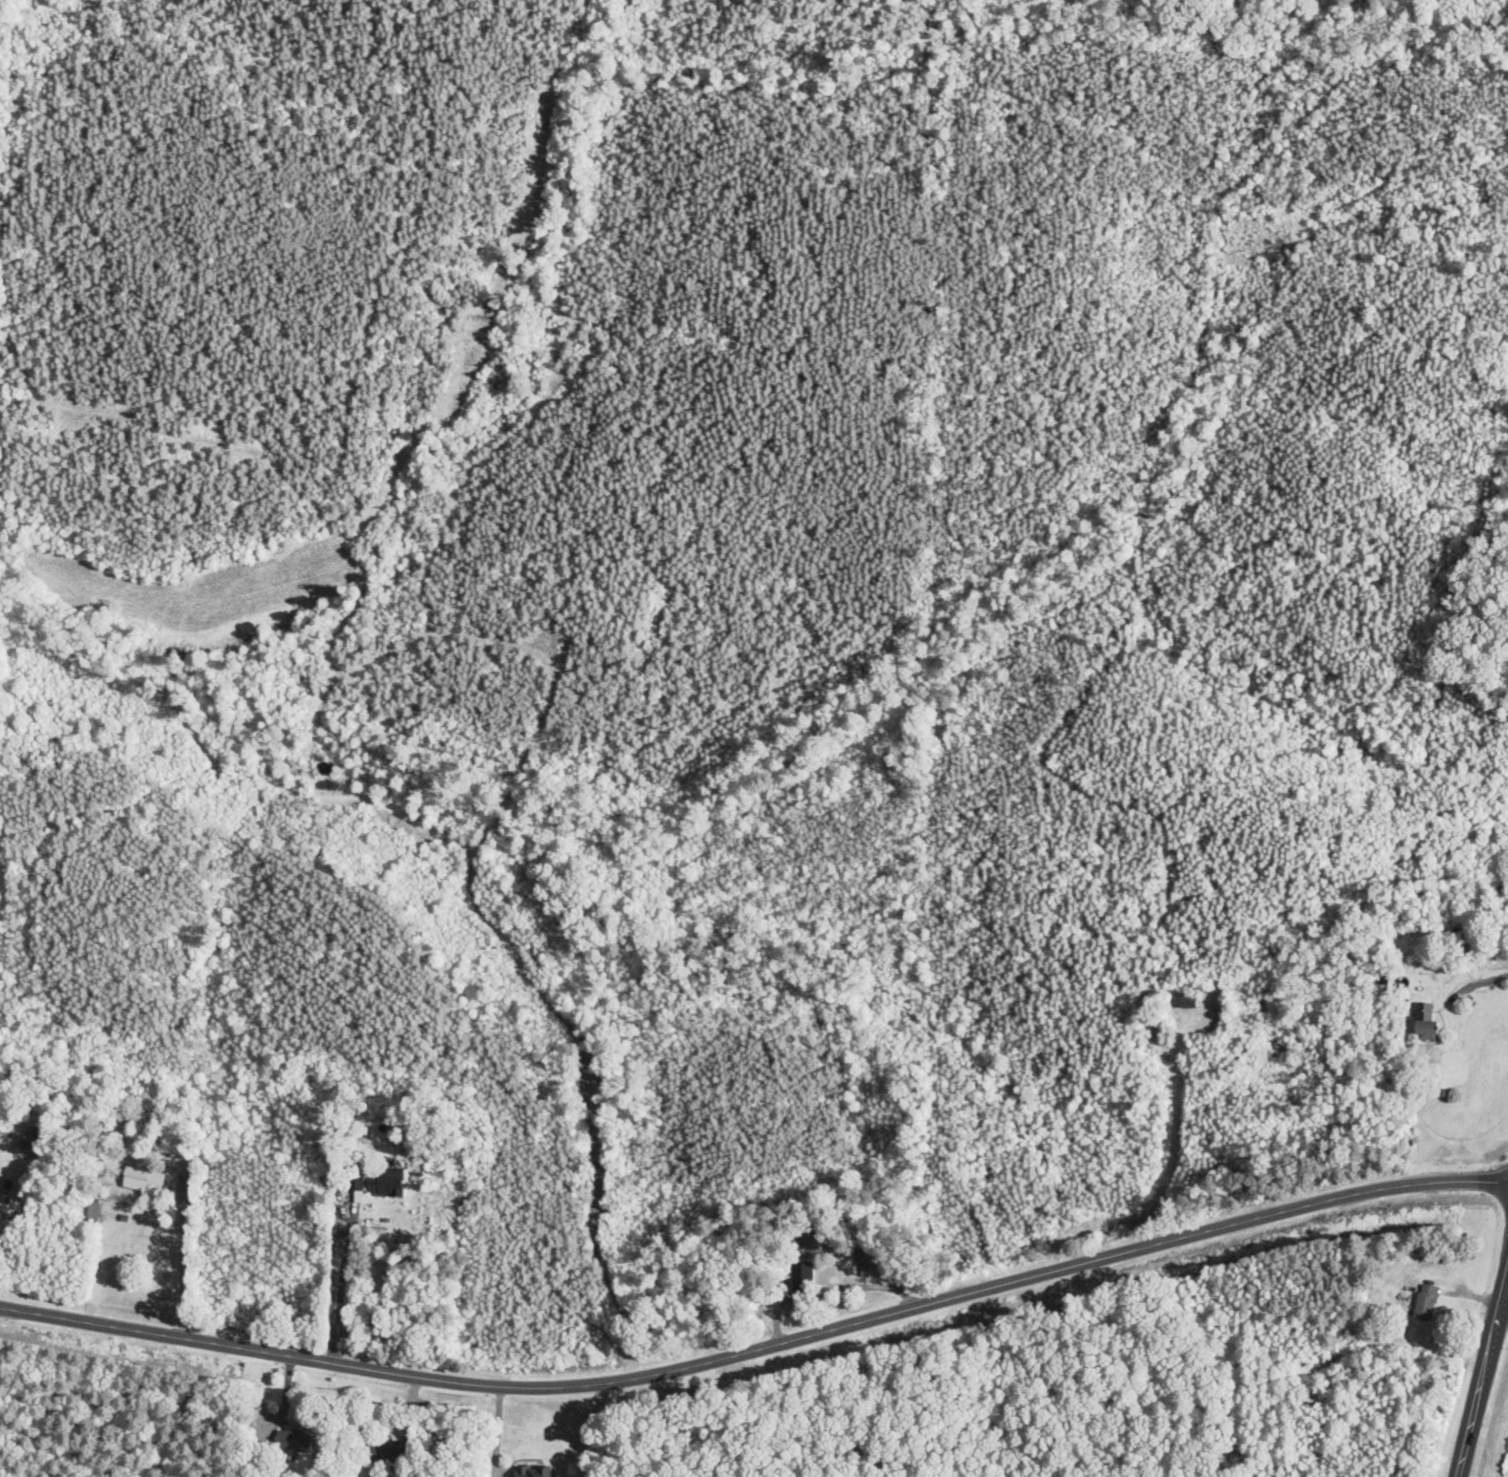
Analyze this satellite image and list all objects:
building: (1428, 1023)
building: (28, 1142)
building: (144, 1180)
building: (390, 1185)
building: (88, 1214)
park: (845, 1236)
building: (804, 1278)
building: (1427, 1303)
road: (759, 1350)
road: (1483, 1375)
building: (298, 1441)
building: (390, 1453)
building: (534, 1472)

